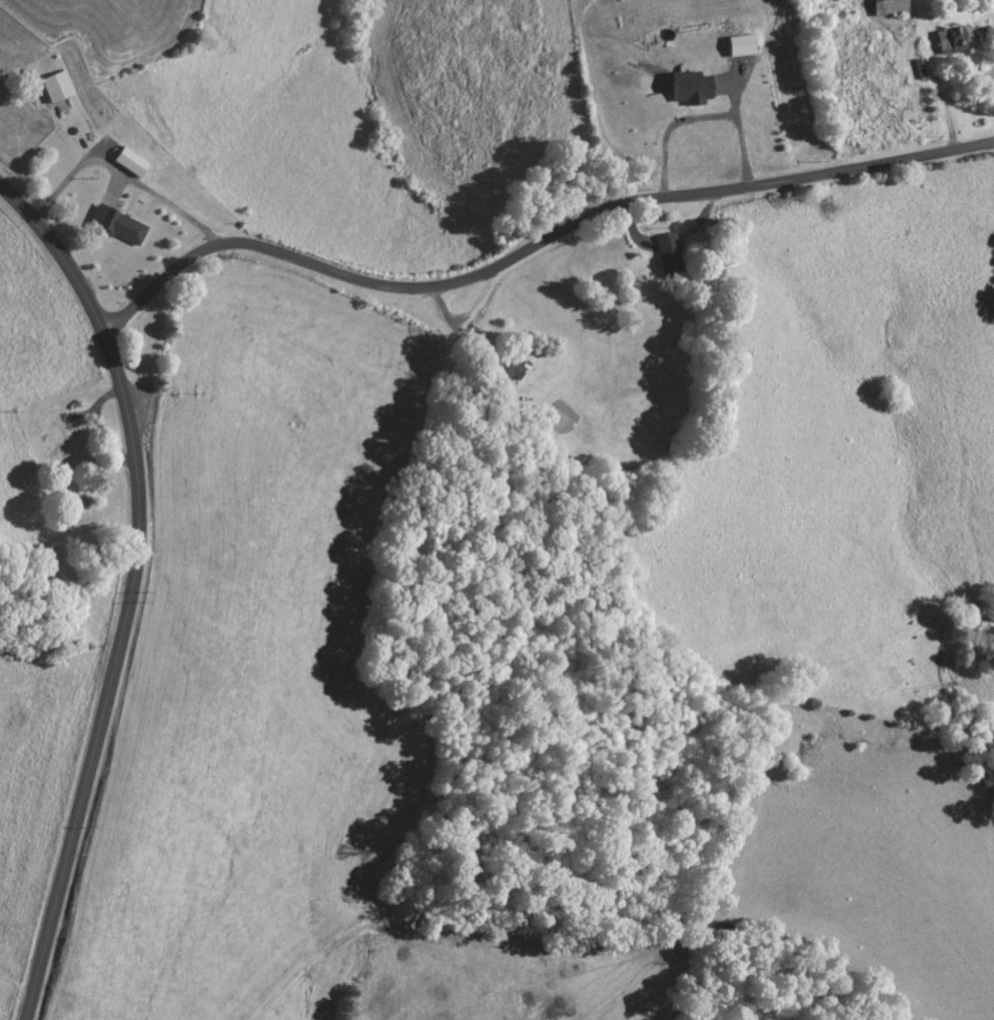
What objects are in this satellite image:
building: (889, 8)
building: (950, 43)
building: (741, 48)
road: (989, 50)
building: (57, 89)
building: (692, 90)
building: (130, 164)
road: (121, 172)
building: (118, 228)
road: (532, 250)
road: (456, 330)
road: (133, 590)

